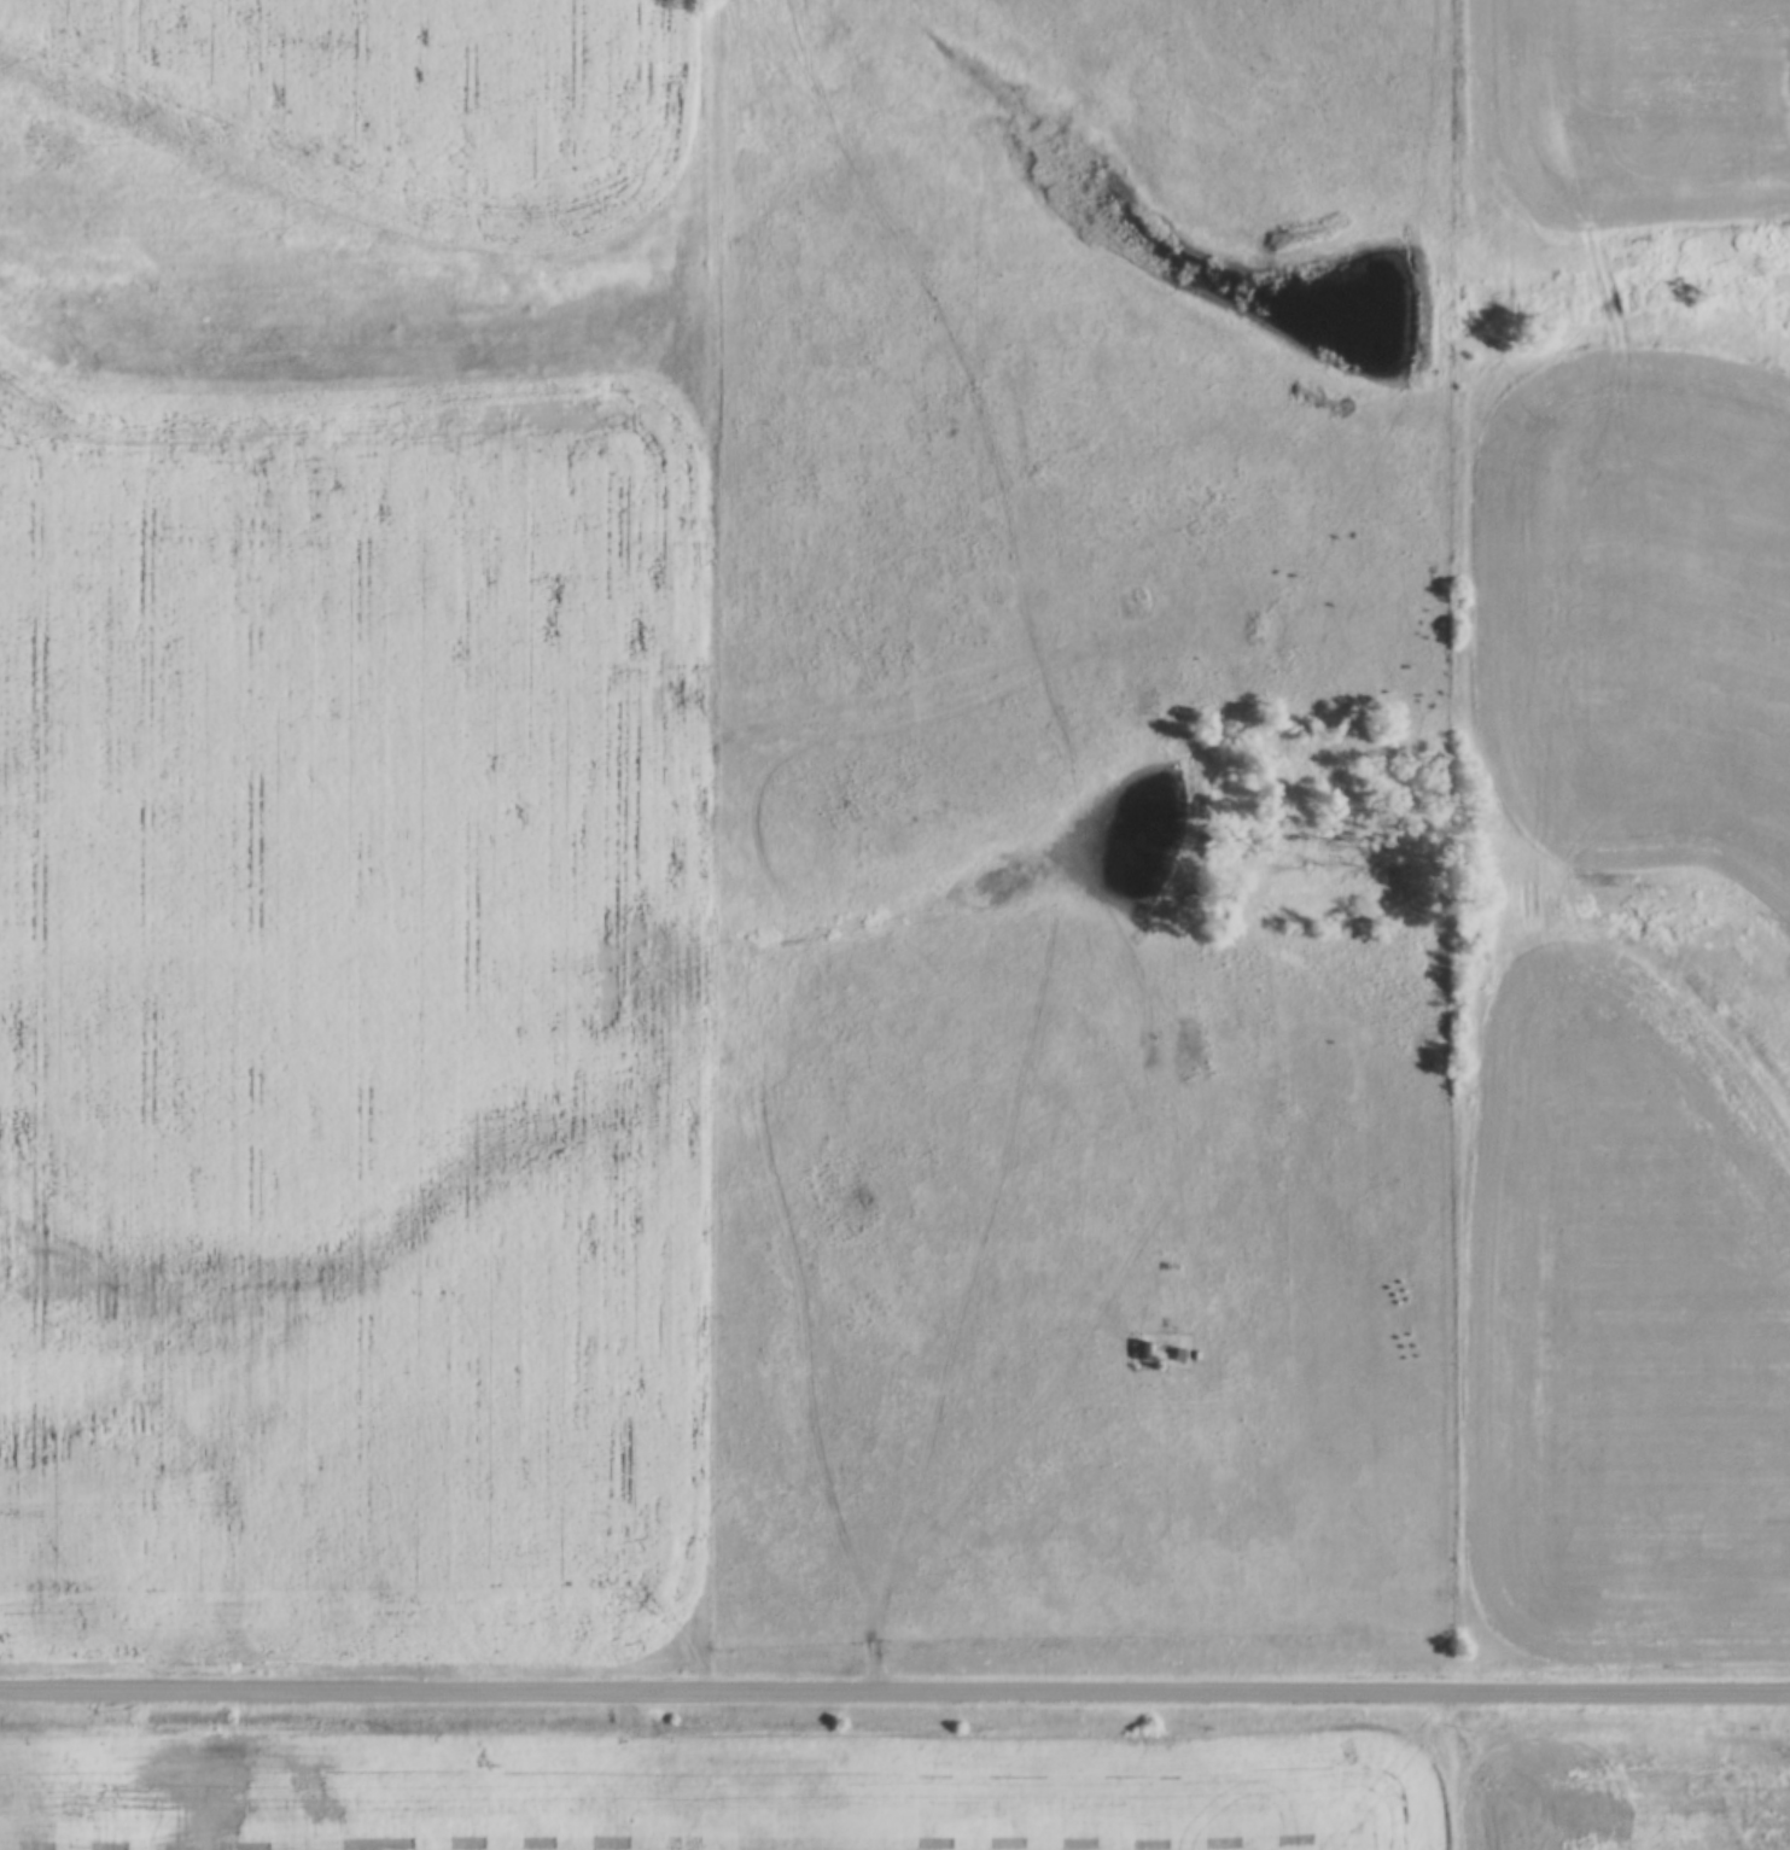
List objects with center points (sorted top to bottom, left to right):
road: (894, 1696)

